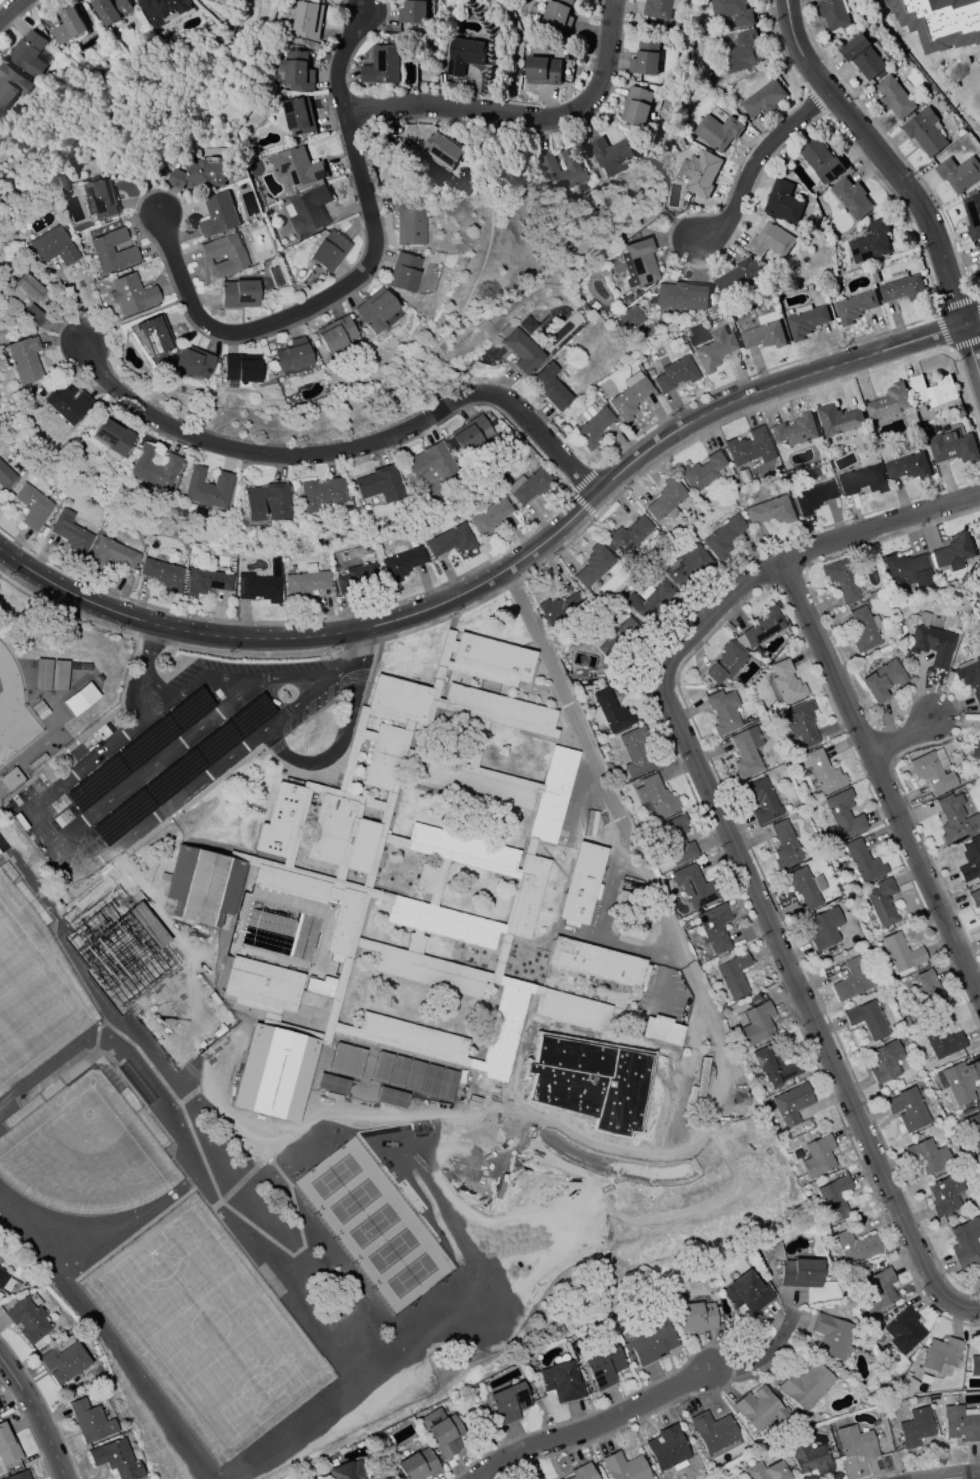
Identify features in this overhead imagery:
building: (659, 8)
building: (161, 9)
road: (14, 10)
building: (111, 10)
building: (732, 11)
building: (411, 12)
building: (557, 13)
building: (832, 14)
building: (306, 19)
building: (67, 26)
building: (27, 53)
building: (741, 53)
building: (463, 55)
road: (340, 57)
building: (863, 57)
building: (645, 59)
building: (380, 65)
building: (542, 70)
building: (296, 71)
building: (10, 84)
road: (957, 85)
building: (762, 96)
building: (894, 97)
building: (636, 105)
road: (977, 112)
building: (298, 116)
road: (521, 118)
building: (717, 131)
building: (924, 132)
building: (443, 151)
building: (213, 153)
building: (610, 155)
building: (819, 162)
road: (751, 163)
building: (296, 167)
building: (561, 170)
building: (699, 173)
building: (958, 173)
building: (201, 174)
road: (897, 179)
building: (62, 183)
building: (101, 198)
building: (851, 198)
building: (782, 202)
building: (308, 210)
building: (217, 215)
building: (972, 216)
building: (407, 223)
building: (769, 241)
building: (870, 242)
building: (53, 247)
building: (111, 252)
building: (328, 252)
building: (978, 252)
building: (223, 255)
building: (638, 263)
building: (402, 272)
building: (738, 277)
building: (901, 288)
building: (24, 289)
building: (238, 293)
building: (131, 294)
building: (681, 296)
road: (309, 305)
building: (854, 306)
building: (712, 309)
building: (374, 310)
building: (33, 315)
building: (629, 318)
building: (806, 321)
building: (335, 334)
building: (154, 335)
building: (763, 335)
building: (519, 349)
building: (714, 349)
building: (292, 357)
building: (22, 359)
building: (192, 362)
building: (241, 368)
building: (650, 372)
building: (675, 374)
building: (548, 386)
building: (932, 390)
building: (630, 396)
building: (888, 401)
building: (65, 403)
building: (837, 419)
building: (590, 425)
building: (795, 430)
building: (468, 433)
building: (112, 436)
building: (951, 447)
road: (343, 448)
building: (749, 448)
building: (430, 464)
building: (907, 466)
building: (154, 467)
building: (703, 472)
building: (6, 477)
building: (861, 481)
building: (378, 484)
building: (529, 487)
building: (207, 488)
building: (319, 493)
building: (665, 498)
building: (812, 498)
building: (266, 501)
building: (33, 506)
building: (770, 511)
building: (490, 515)
building: (71, 534)
building: (627, 535)
building: (722, 538)
building: (450, 540)
building: (953, 552)
building: (113, 553)
building: (402, 563)
building: (593, 565)
building: (978, 566)
building: (687, 567)
road: (509, 570)
building: (907, 570)
building: (162, 574)
building: (355, 578)
building: (840, 580)
building: (207, 581)
building: (305, 582)
building: (260, 584)
building: (649, 599)
building: (560, 608)
building: (763, 626)
building: (864, 629)
building: (618, 639)
building: (929, 641)
road: (357, 646)
road: (148, 650)
road: (132, 654)
building: (979, 655)
building: (724, 663)
road: (346, 671)
building: (51, 675)
road: (230, 677)
building: (970, 677)
building: (882, 680)
building: (786, 682)
road: (317, 694)
road: (269, 698)
building: (80, 699)
road: (131, 699)
track: (12, 709)
road: (226, 710)
building: (609, 712)
building: (722, 712)
road: (285, 718)
building: (800, 723)
road: (195, 735)
road: (901, 735)
road: (338, 748)
building: (975, 750)
building: (636, 751)
building: (745, 753)
parking lot: (164, 755)
road: (166, 758)
building: (820, 771)
building: (932, 771)
building: (10, 778)
road: (135, 782)
road: (883, 784)
building: (655, 796)
road: (211, 800)
building: (761, 801)
road: (584, 803)
road: (104, 806)
building: (841, 815)
building: (954, 818)
road: (74, 829)
road: (732, 838)
building: (676, 840)
building: (784, 845)
road: (225, 850)
road: (159, 856)
building: (970, 861)
building: (862, 862)
building: (205, 875)
road: (80, 878)
building: (581, 882)
building: (694, 886)
building: (802, 887)
building: (974, 898)
building: (882, 902)
building: (979, 910)
road: (163, 915)
building: (714, 927)
building: (824, 928)
road: (610, 943)
building: (900, 953)
building: (597, 962)
road: (683, 966)
road: (660, 971)
building: (734, 975)
building: (851, 980)
park: (153, 981)
building: (929, 990)
park: (41, 1007)
building: (867, 1019)
building: (757, 1024)
building: (661, 1030)
building: (542, 1038)
building: (941, 1040)
building: (565, 1045)
building: (581, 1050)
building: (597, 1054)
building: (885, 1062)
building: (772, 1066)
road: (396, 1076)
building: (540, 1076)
building: (556, 1081)
building: (960, 1081)
building: (572, 1085)
building: (683, 1089)
building: (589, 1090)
road: (728, 1094)
building: (791, 1104)
road: (391, 1105)
building: (907, 1110)
building: (973, 1130)
road: (256, 1136)
park: (301, 1156)
building: (817, 1156)
building: (928, 1156)
park: (320, 1180)
park: (450, 1188)
building: (944, 1195)
building: (835, 1197)
park: (341, 1206)
building: (965, 1244)
park: (166, 1246)
building: (855, 1247)
building: (800, 1273)
building: (5, 1281)
building: (878, 1290)
building: (746, 1293)
building: (696, 1317)
building: (26, 1320)
building: (903, 1330)
building: (831, 1335)
building: (650, 1343)
road: (764, 1353)
building: (940, 1354)
building: (63, 1362)
building: (974, 1366)
building: (603, 1367)
building: (561, 1382)
building: (805, 1385)
building: (906, 1386)
building: (508, 1402)
building: (759, 1409)
road: (39, 1413)
building: (90, 1421)
building: (961, 1424)
road: (594, 1427)
building: (914, 1427)
building: (713, 1431)
building: (441, 1432)
building: (856, 1442)
building: (7, 1448)
building: (667, 1450)
building: (115, 1459)
building: (810, 1459)
building: (416, 1465)
building: (625, 1467)
building: (345, 1471)
building: (765, 1471)
building: (582, 1472)
building: (18, 1476)
building: (562, 1478)
road: (976, 1478)

